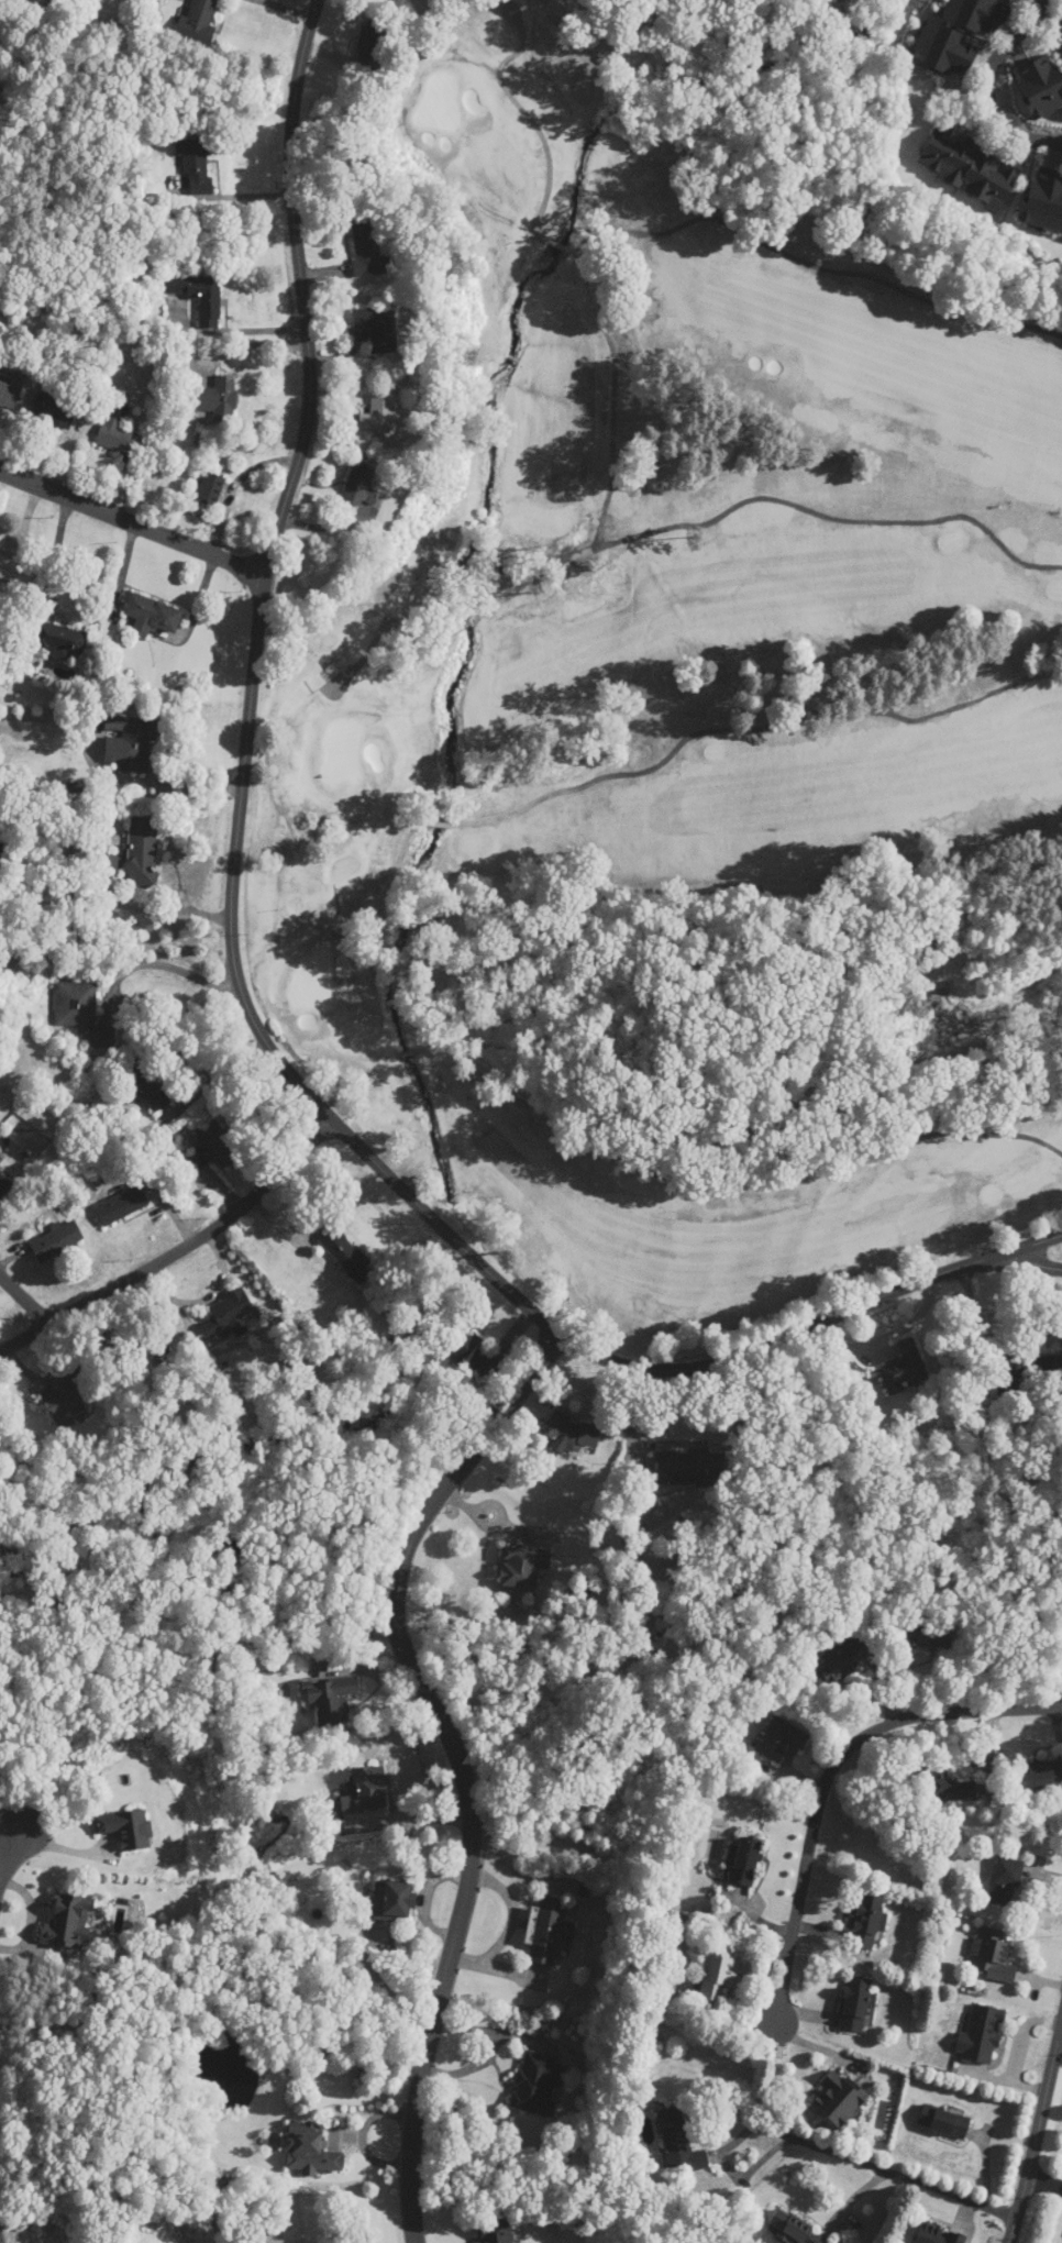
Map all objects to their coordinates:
building: (199, 21)
building: (959, 35)
building: (370, 45)
building: (1042, 84)
road: (989, 87)
building: (196, 164)
building: (969, 164)
building: (1043, 200)
building: (366, 247)
building: (199, 297)
building: (377, 328)
building: (11, 391)
building: (218, 399)
building: (54, 408)
building: (381, 415)
building: (117, 431)
building: (357, 485)
building: (207, 495)
road: (132, 522)
road: (56, 551)
building: (152, 616)
building: (59, 639)
building: (131, 742)
park: (685, 752)
building: (142, 851)
building: (106, 861)
road: (170, 910)
road: (162, 963)
road: (243, 988)
building: (82, 1013)
building: (150, 1084)
building: (218, 1142)
building: (195, 1161)
building: (3, 1183)
building: (121, 1205)
building: (56, 1240)
building: (342, 1248)
road: (178, 1252)
road: (1037, 1260)
road: (26, 1300)
building: (230, 1312)
building: (473, 1353)
building: (1032, 1364)
building: (903, 1368)
building: (63, 1396)
building: (574, 1434)
building: (682, 1462)
building: (522, 1566)
building: (903, 1635)
building: (933, 1636)
building: (843, 1661)
building: (330, 1699)
building: (781, 1739)
road: (457, 1757)
road: (833, 1769)
building: (1042, 1776)
building: (950, 1786)
building: (366, 1791)
road: (405, 1830)
road: (69, 1848)
road: (8, 1850)
building: (743, 1863)
building: (1005, 1881)
building: (392, 1901)
building: (865, 1922)
building: (547, 1930)
building: (992, 1955)
building: (717, 1973)
building: (855, 2004)
road: (1060, 2011)
building: (981, 2034)
building: (538, 2084)
building: (839, 2098)
building: (944, 2121)
road: (1037, 2121)
building: (678, 2141)
building: (308, 2148)
road: (903, 2176)
road: (1043, 2179)
building: (797, 2229)
building: (496, 2231)
building: (938, 2235)

